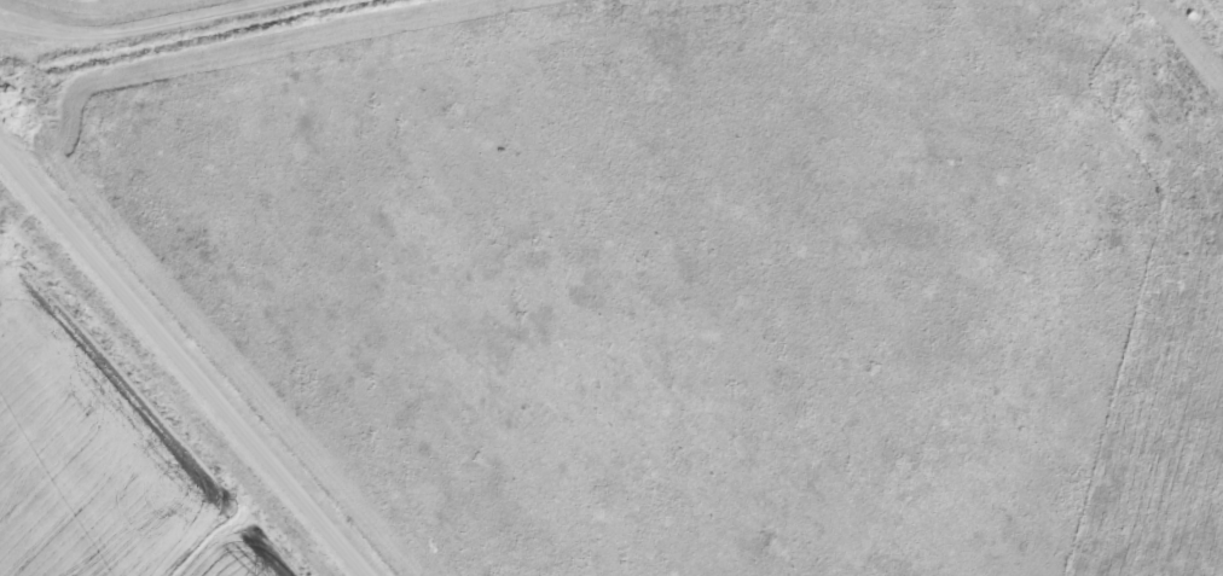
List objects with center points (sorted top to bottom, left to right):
road: (187, 356)

